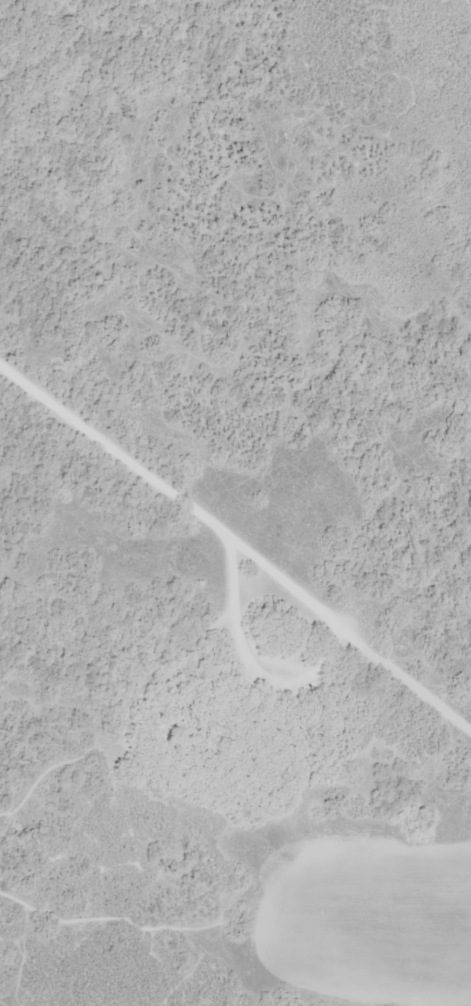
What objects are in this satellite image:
road: (297, 876)

